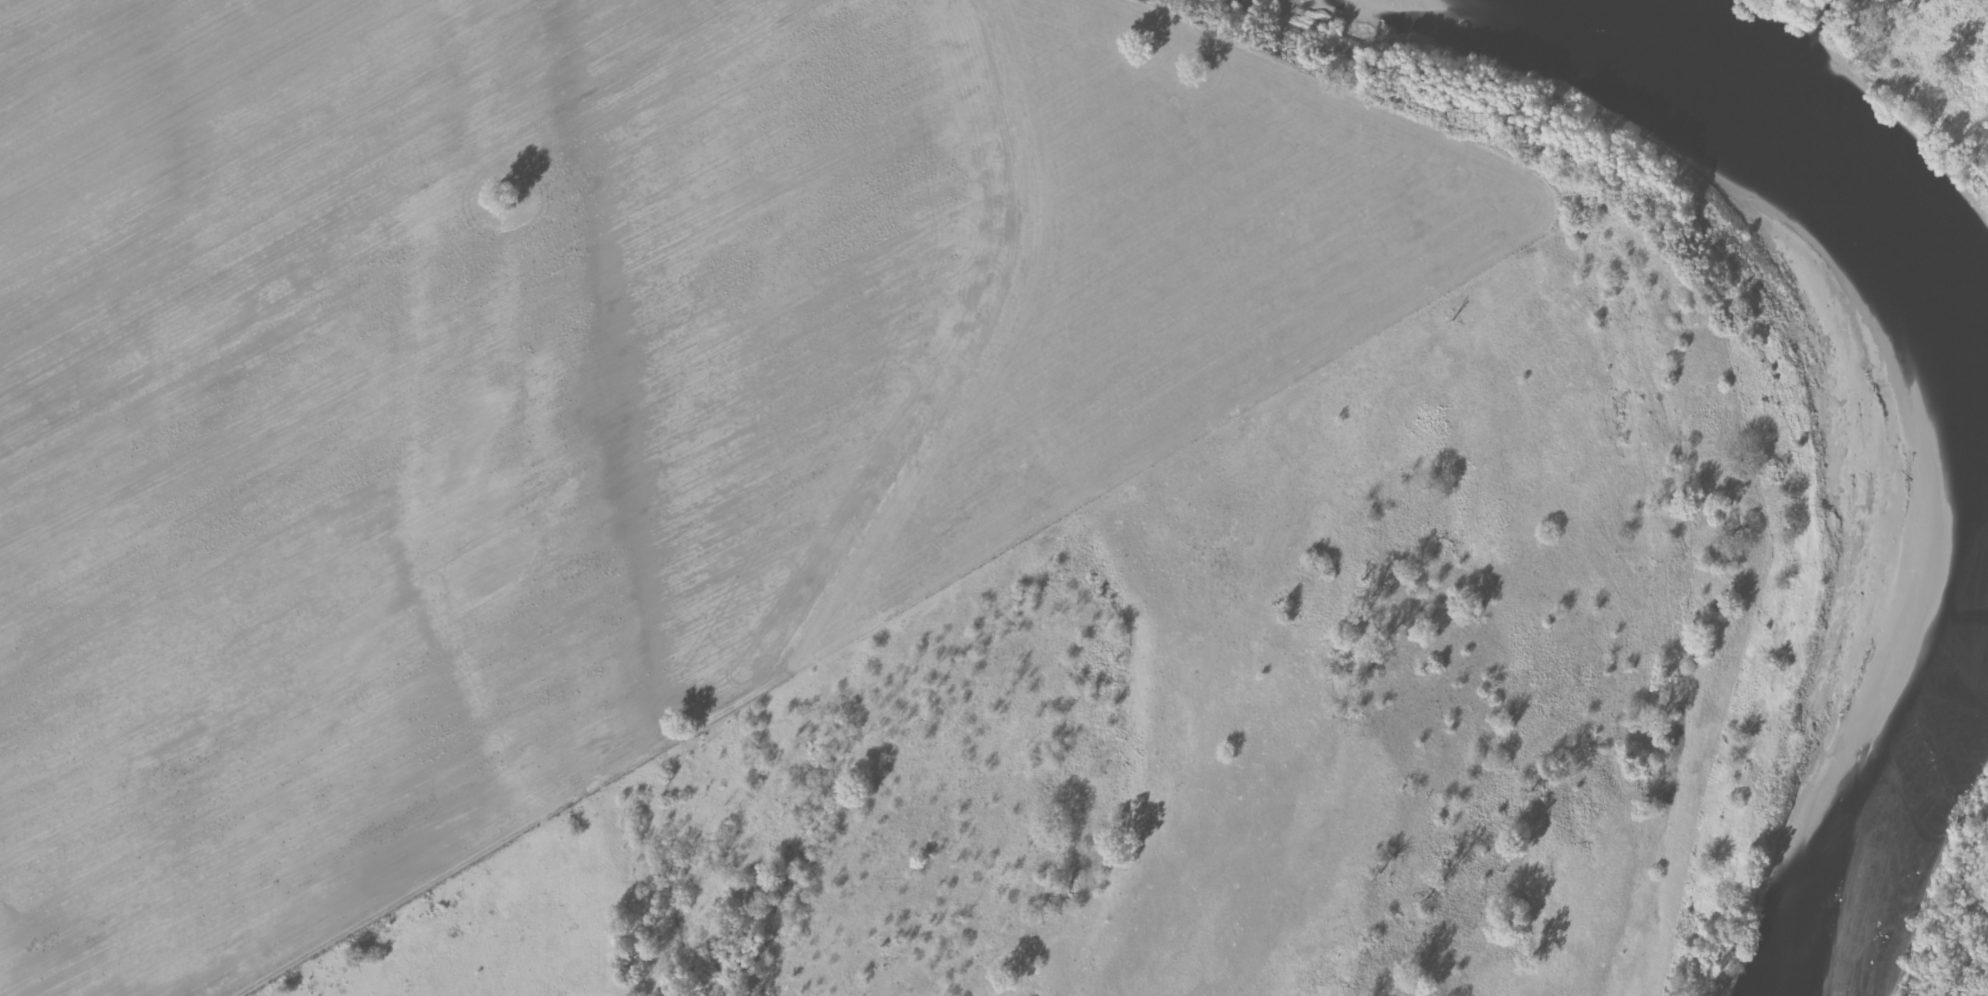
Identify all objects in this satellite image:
river: (1915, 378)

